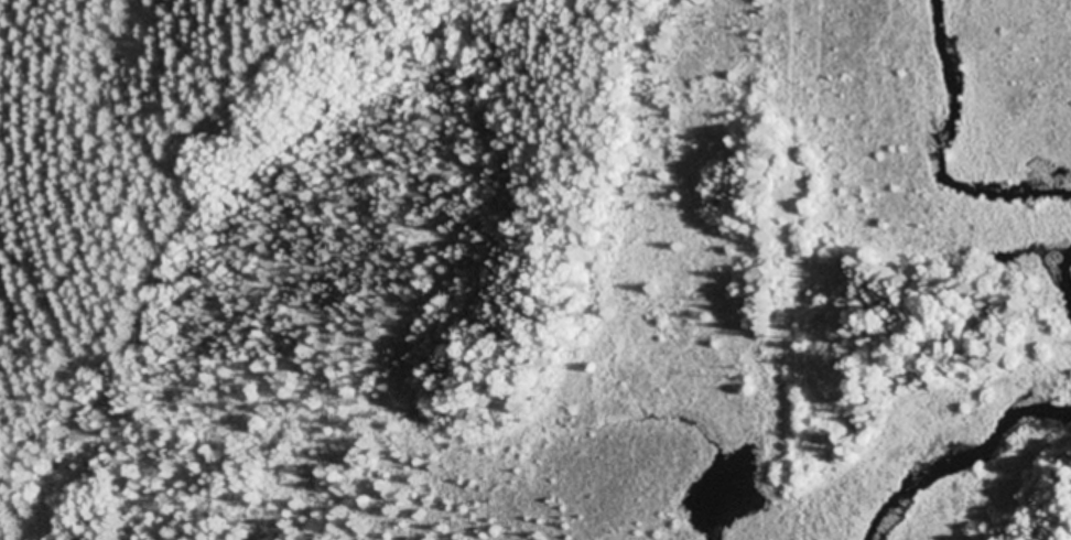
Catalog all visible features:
power tower: (807, 341)

